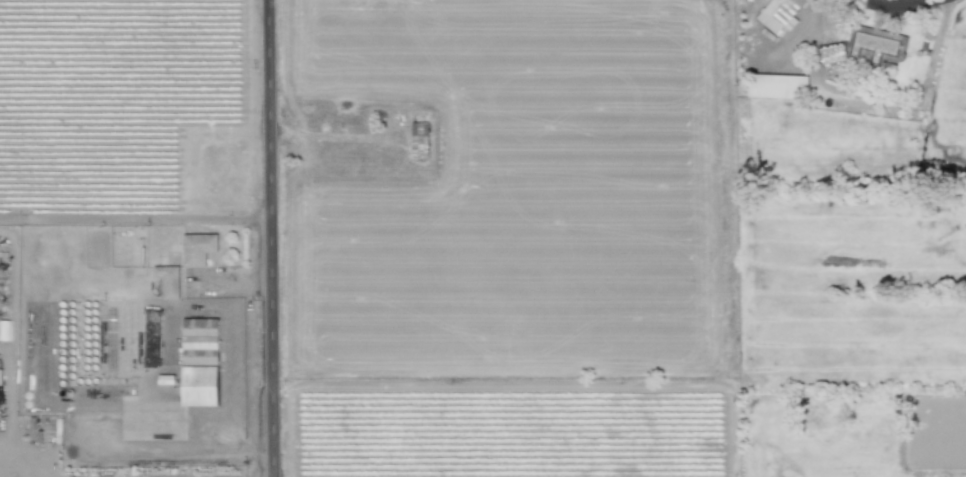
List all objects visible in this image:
building: (778, 15)
building: (873, 45)
building: (832, 54)
building: (777, 86)
road: (920, 99)
building: (418, 138)
road: (136, 217)
road: (272, 238)
building: (197, 248)
building: (167, 281)
road: (14, 362)
building: (199, 362)
road: (202, 440)
road: (24, 472)

